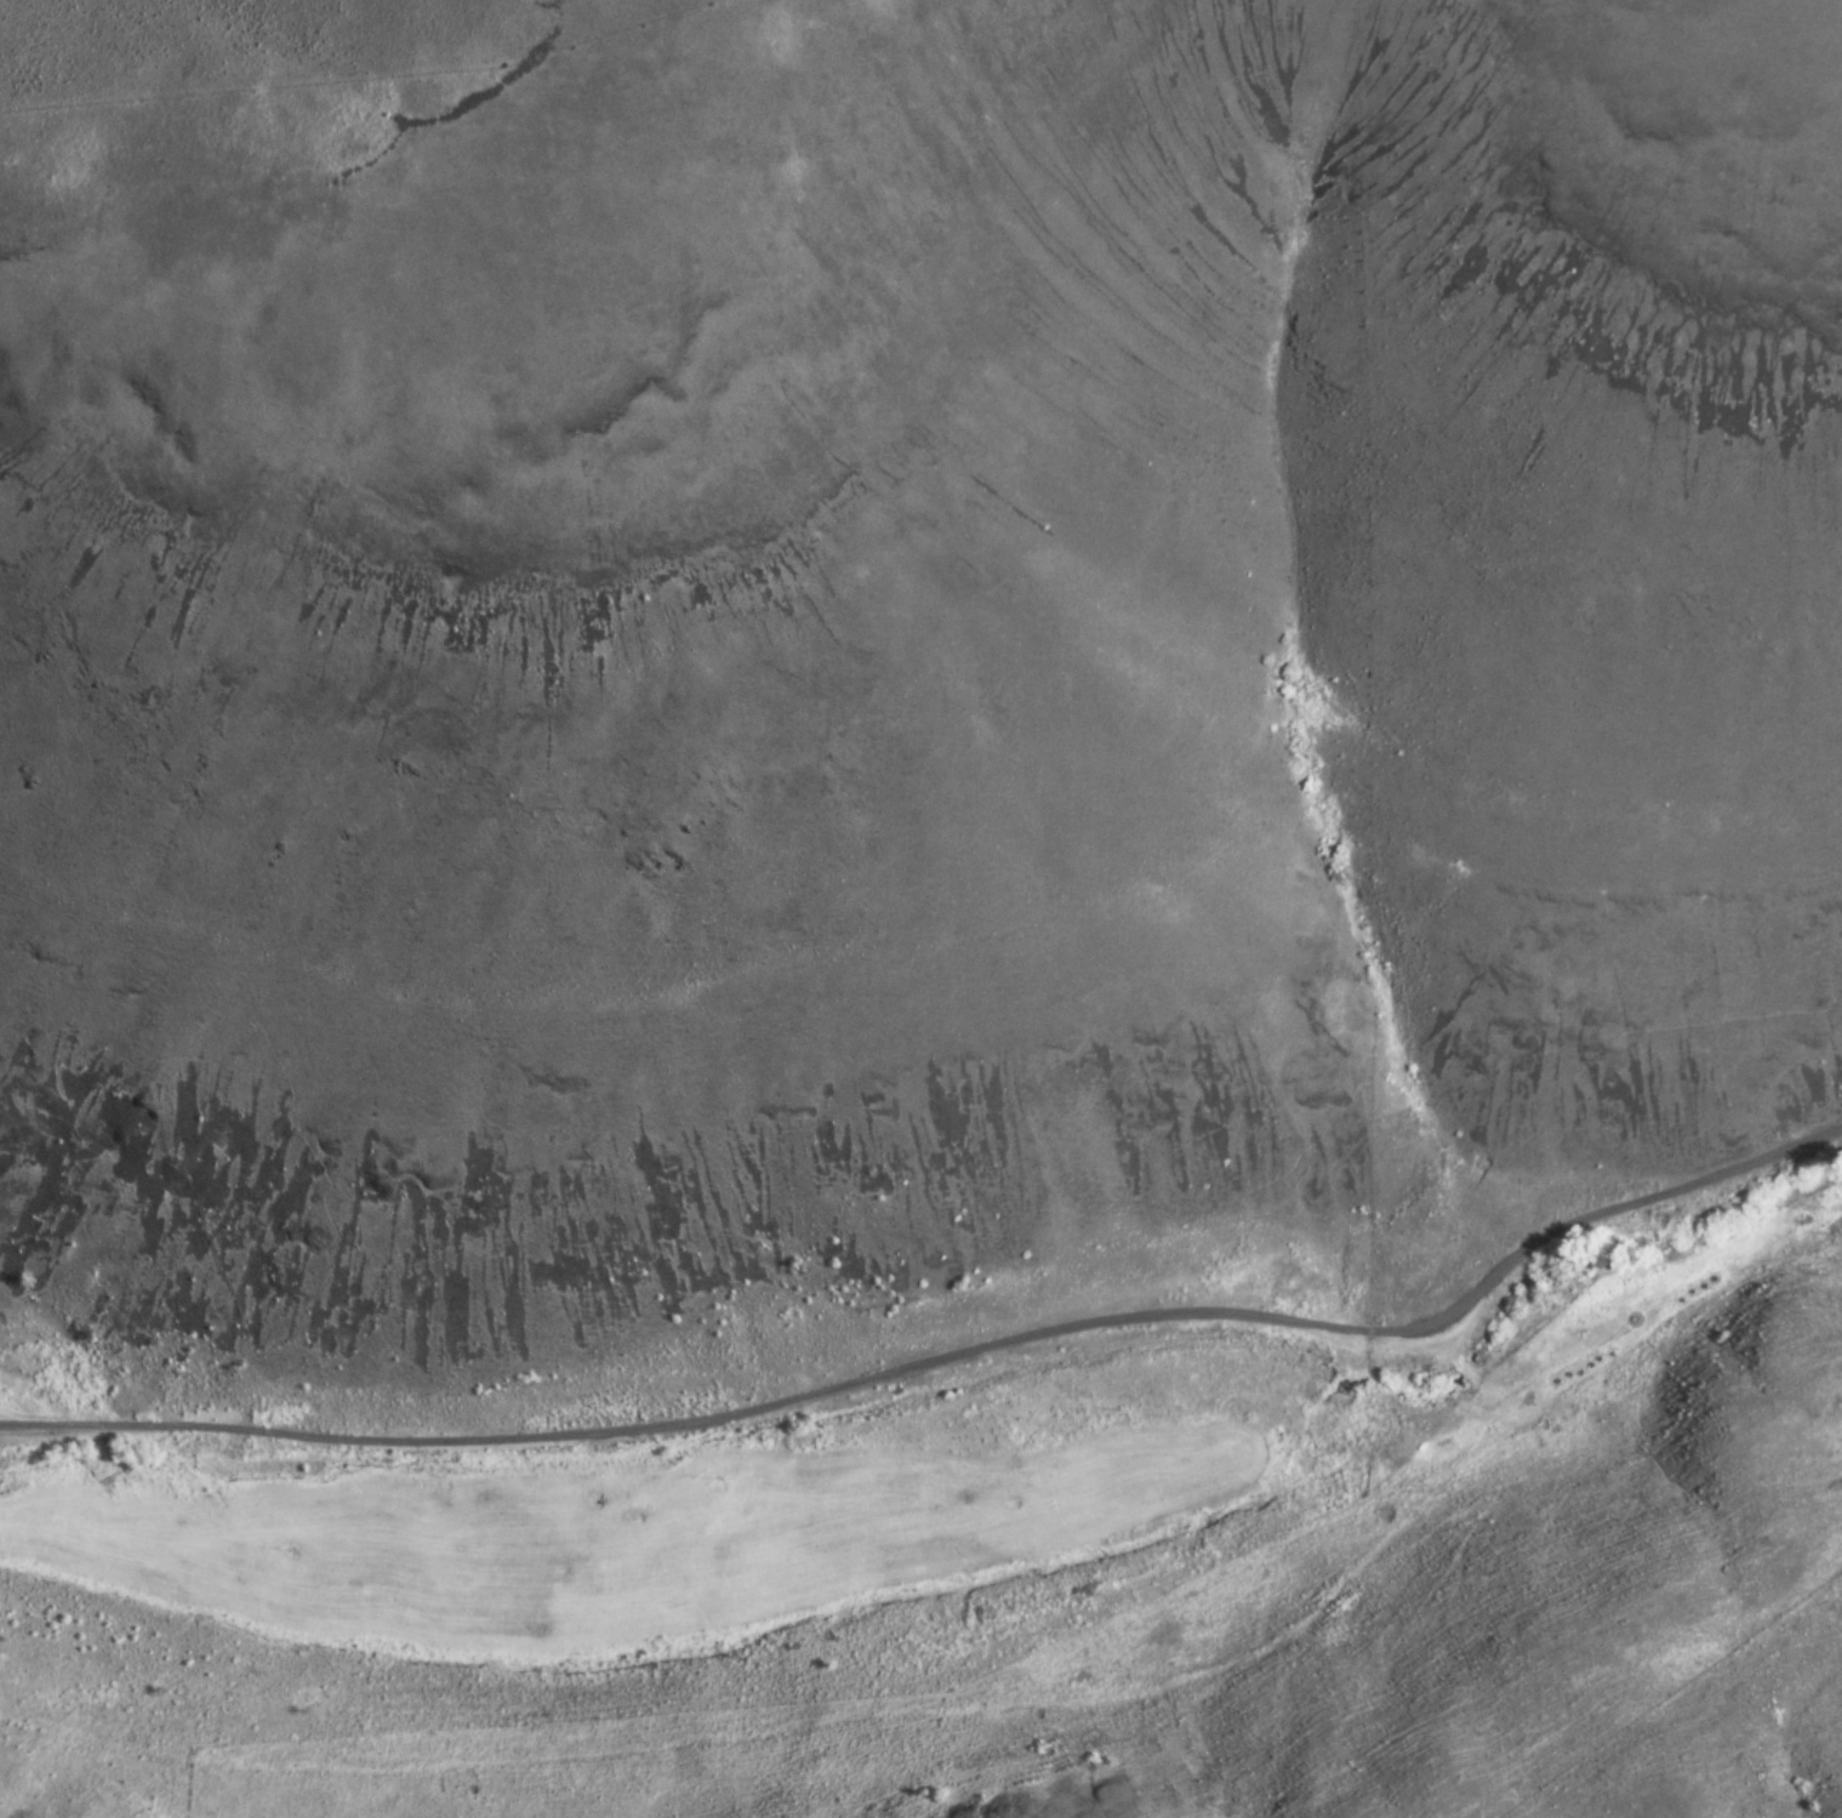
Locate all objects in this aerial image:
road: (945, 1389)

